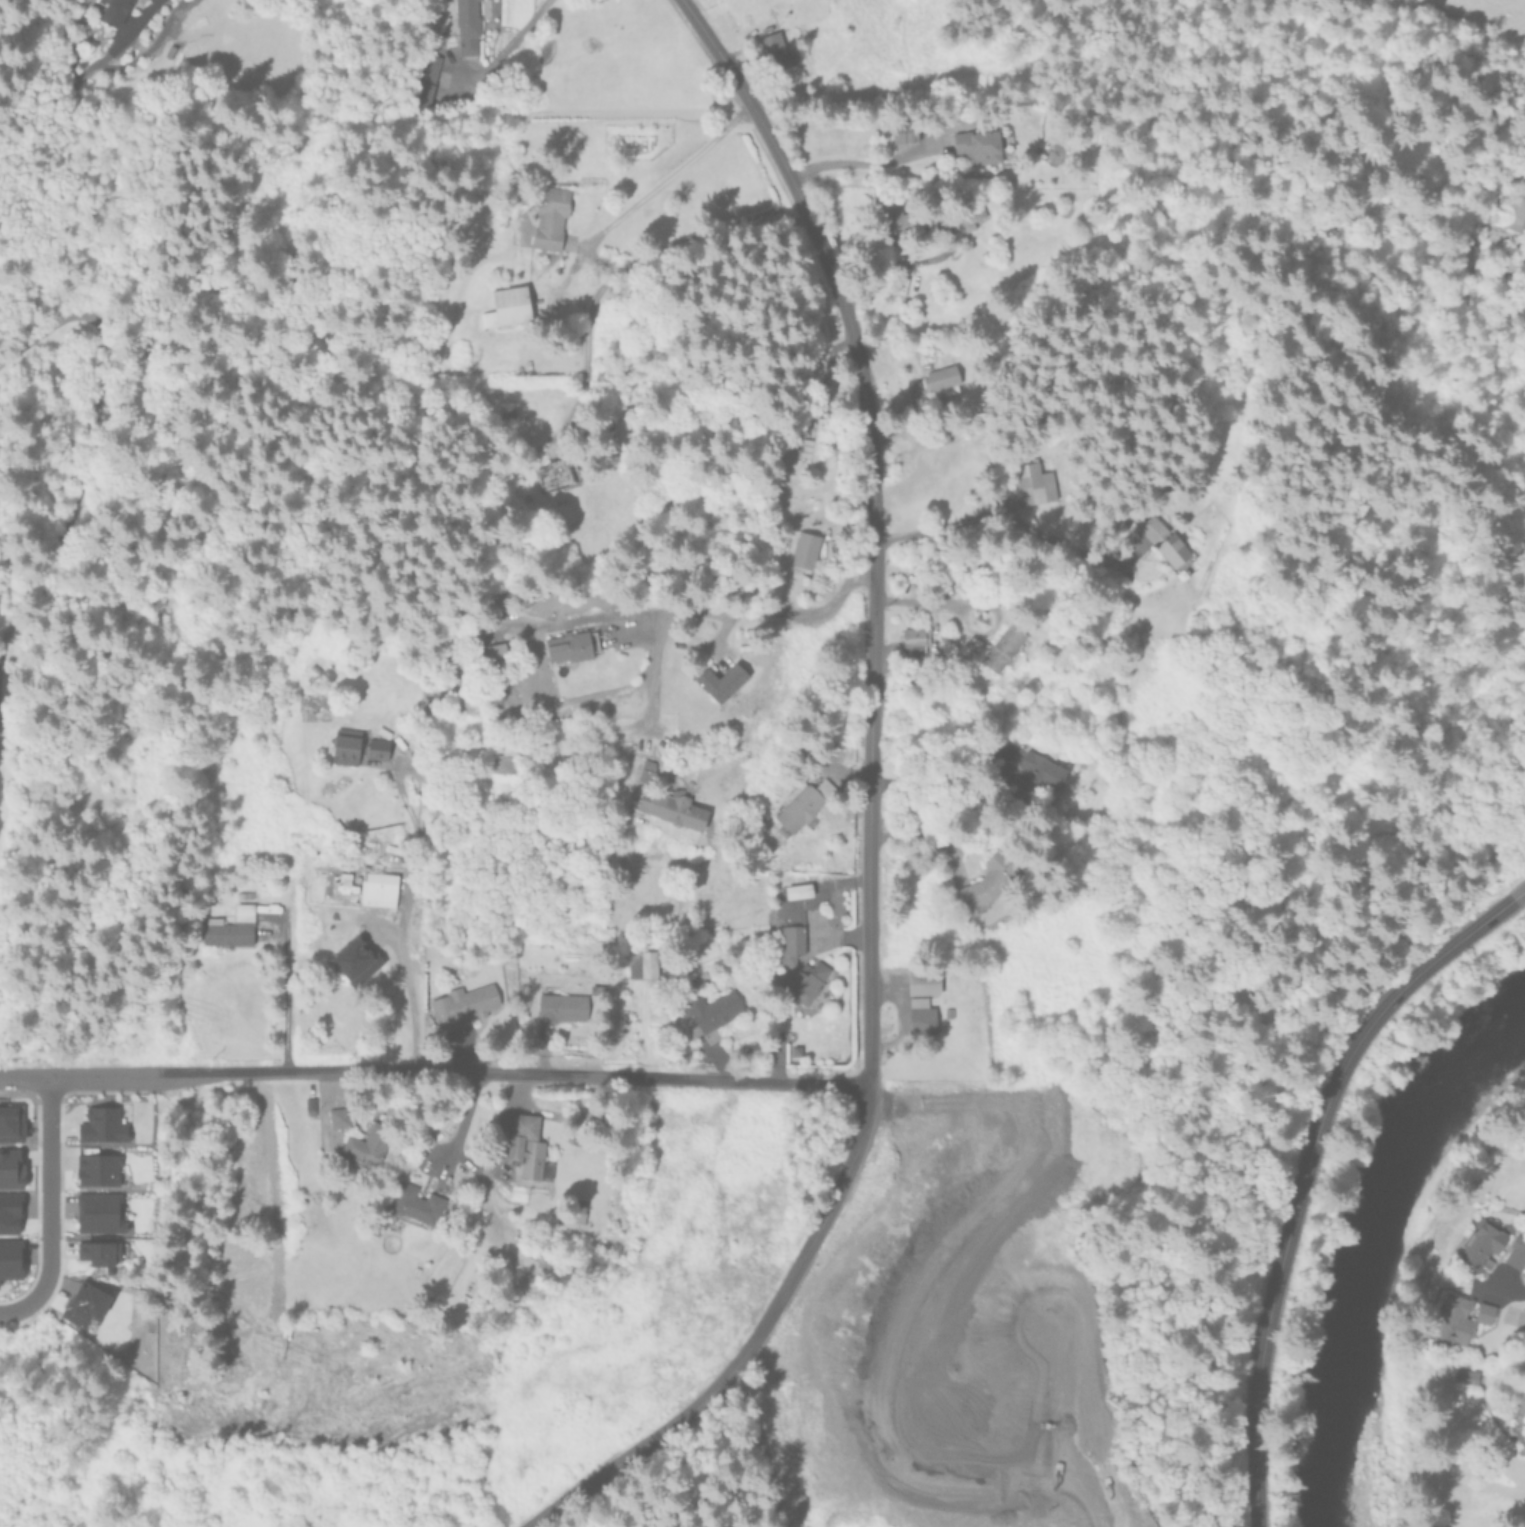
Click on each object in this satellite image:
building: (810, 0)
building: (113, 11)
road: (140, 16)
building: (466, 27)
road: (512, 42)
building: (775, 52)
building: (425, 79)
building: (902, 132)
building: (974, 146)
road: (861, 163)
road: (668, 178)
building: (1514, 211)
building: (969, 216)
building: (550, 217)
building: (892, 217)
building: (506, 307)
building: (940, 378)
building: (817, 439)
road: (91, 441)
building: (553, 474)
building: (1033, 483)
road: (872, 520)
road: (934, 527)
road: (516, 529)
building: (1162, 540)
building: (804, 550)
road: (969, 628)
building: (912, 636)
building: (570, 646)
building: (1001, 647)
road: (656, 668)
building: (720, 681)
building: (347, 732)
building: (344, 746)
building: (376, 747)
building: (500, 766)
building: (645, 771)
building: (1036, 773)
building: (801, 803)
building: (670, 808)
building: (987, 882)
building: (377, 889)
building: (797, 891)
building: (230, 928)
road: (396, 929)
building: (790, 944)
building: (641, 964)
road: (1417, 972)
building: (805, 982)
building: (922, 982)
road: (285, 986)
building: (463, 1005)
building: (560, 1007)
building: (919, 1016)
road: (81, 1070)
road: (516, 1072)
building: (309, 1101)
building: (341, 1115)
building: (10, 1123)
building: (101, 1124)
road: (459, 1125)
building: (366, 1147)
building: (526, 1150)
building: (10, 1168)
building: (96, 1169)
road: (44, 1202)
building: (413, 1205)
building: (98, 1211)
building: (579, 1211)
building: (9, 1216)
building: (1480, 1239)
river: (1367, 1240)
building: (1514, 1250)
building: (98, 1251)
building: (10, 1268)
road: (1510, 1288)
road: (1267, 1299)
building: (83, 1304)
building: (1456, 1316)
road: (750, 1342)
building: (1464, 1374)
building: (1524, 1389)
building: (1524, 1427)

